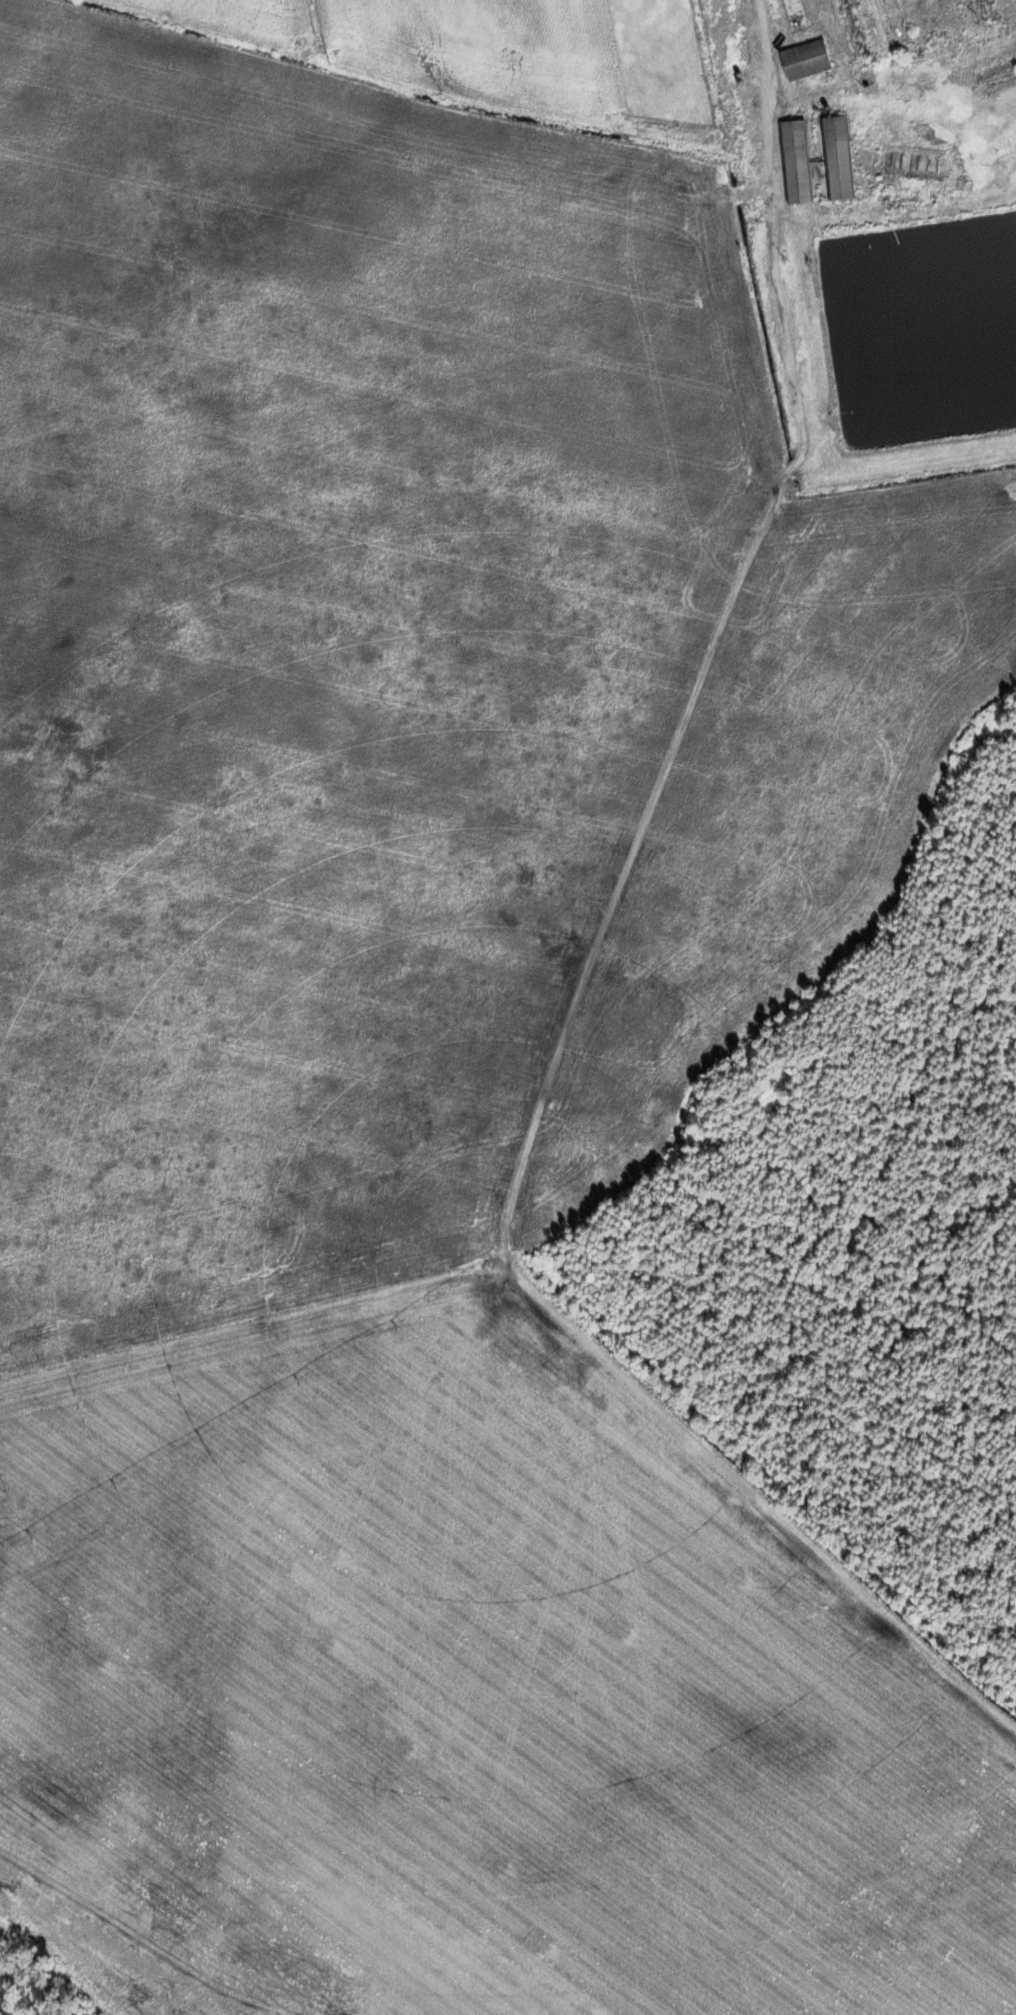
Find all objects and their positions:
building: (795, 15)
building: (856, 29)
building: (731, 33)
building: (945, 37)
building: (807, 61)
building: (839, 160)
building: (797, 163)

